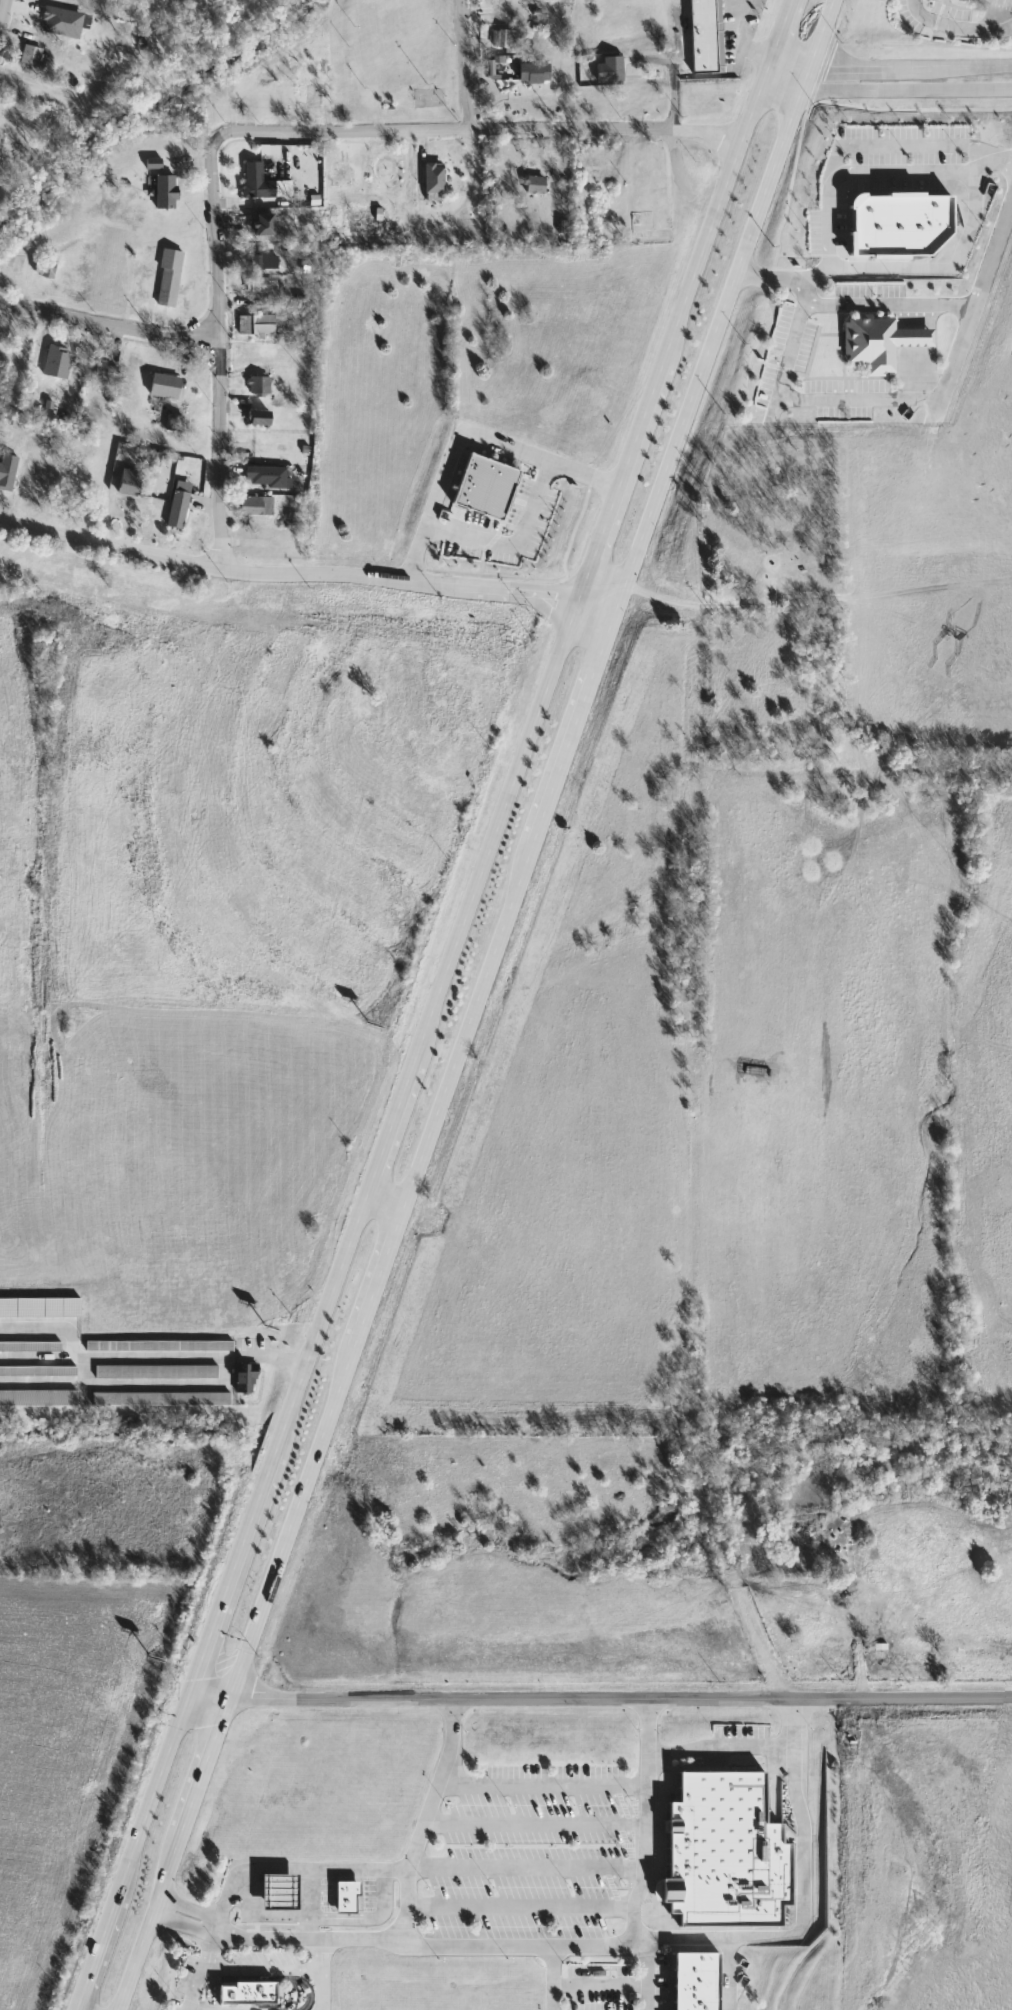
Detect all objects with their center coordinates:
park: (240, 6)
road: (2, 11)
road: (956, 23)
road: (738, 31)
building: (704, 36)
building: (503, 41)
road: (751, 48)
building: (29, 55)
road: (464, 65)
building: (609, 69)
road: (777, 71)
road: (905, 72)
building: (532, 73)
road: (671, 77)
building: (311, 95)
road: (482, 129)
road: (928, 167)
building: (340, 175)
building: (255, 182)
building: (432, 182)
building: (534, 185)
building: (164, 192)
building: (903, 220)
building: (641, 226)
building: (263, 262)
building: (45, 269)
building: (167, 278)
building: (258, 285)
road: (888, 303)
building: (289, 322)
building: (254, 324)
road: (108, 325)
building: (878, 342)
road: (217, 344)
building: (279, 354)
building: (102, 371)
building: (163, 385)
building: (257, 385)
road: (871, 397)
building: (257, 417)
road: (456, 436)
building: (253, 447)
building: (6, 471)
building: (269, 476)
building: (127, 481)
building: (487, 484)
building: (254, 505)
building: (176, 508)
road: (518, 541)
building: (52, 566)
building: (95, 572)
road: (300, 574)
building: (125, 577)
road: (464, 1003)
road: (423, 1004)
road: (375, 1199)
building: (155, 1345)
building: (29, 1346)
road: (150, 1358)
building: (37, 1370)
building: (154, 1371)
building: (243, 1375)
road: (147, 1383)
building: (37, 1398)
building: (159, 1399)
road: (643, 1418)
road: (219, 1691)
road: (520, 1697)
road: (898, 1697)
road: (721, 1746)
road: (541, 1784)
road: (425, 1817)
road: (644, 1819)
road: (534, 1823)
building: (721, 1852)
road: (802, 1852)
road: (289, 1868)
road: (525, 1869)
building: (278, 1892)
building: (346, 1897)
road: (308, 1902)
road: (519, 1905)
road: (390, 1937)
road: (717, 1938)
road: (198, 1970)
road: (319, 1973)
road: (648, 1974)
road: (551, 1977)
building: (693, 1980)
building: (245, 1992)

